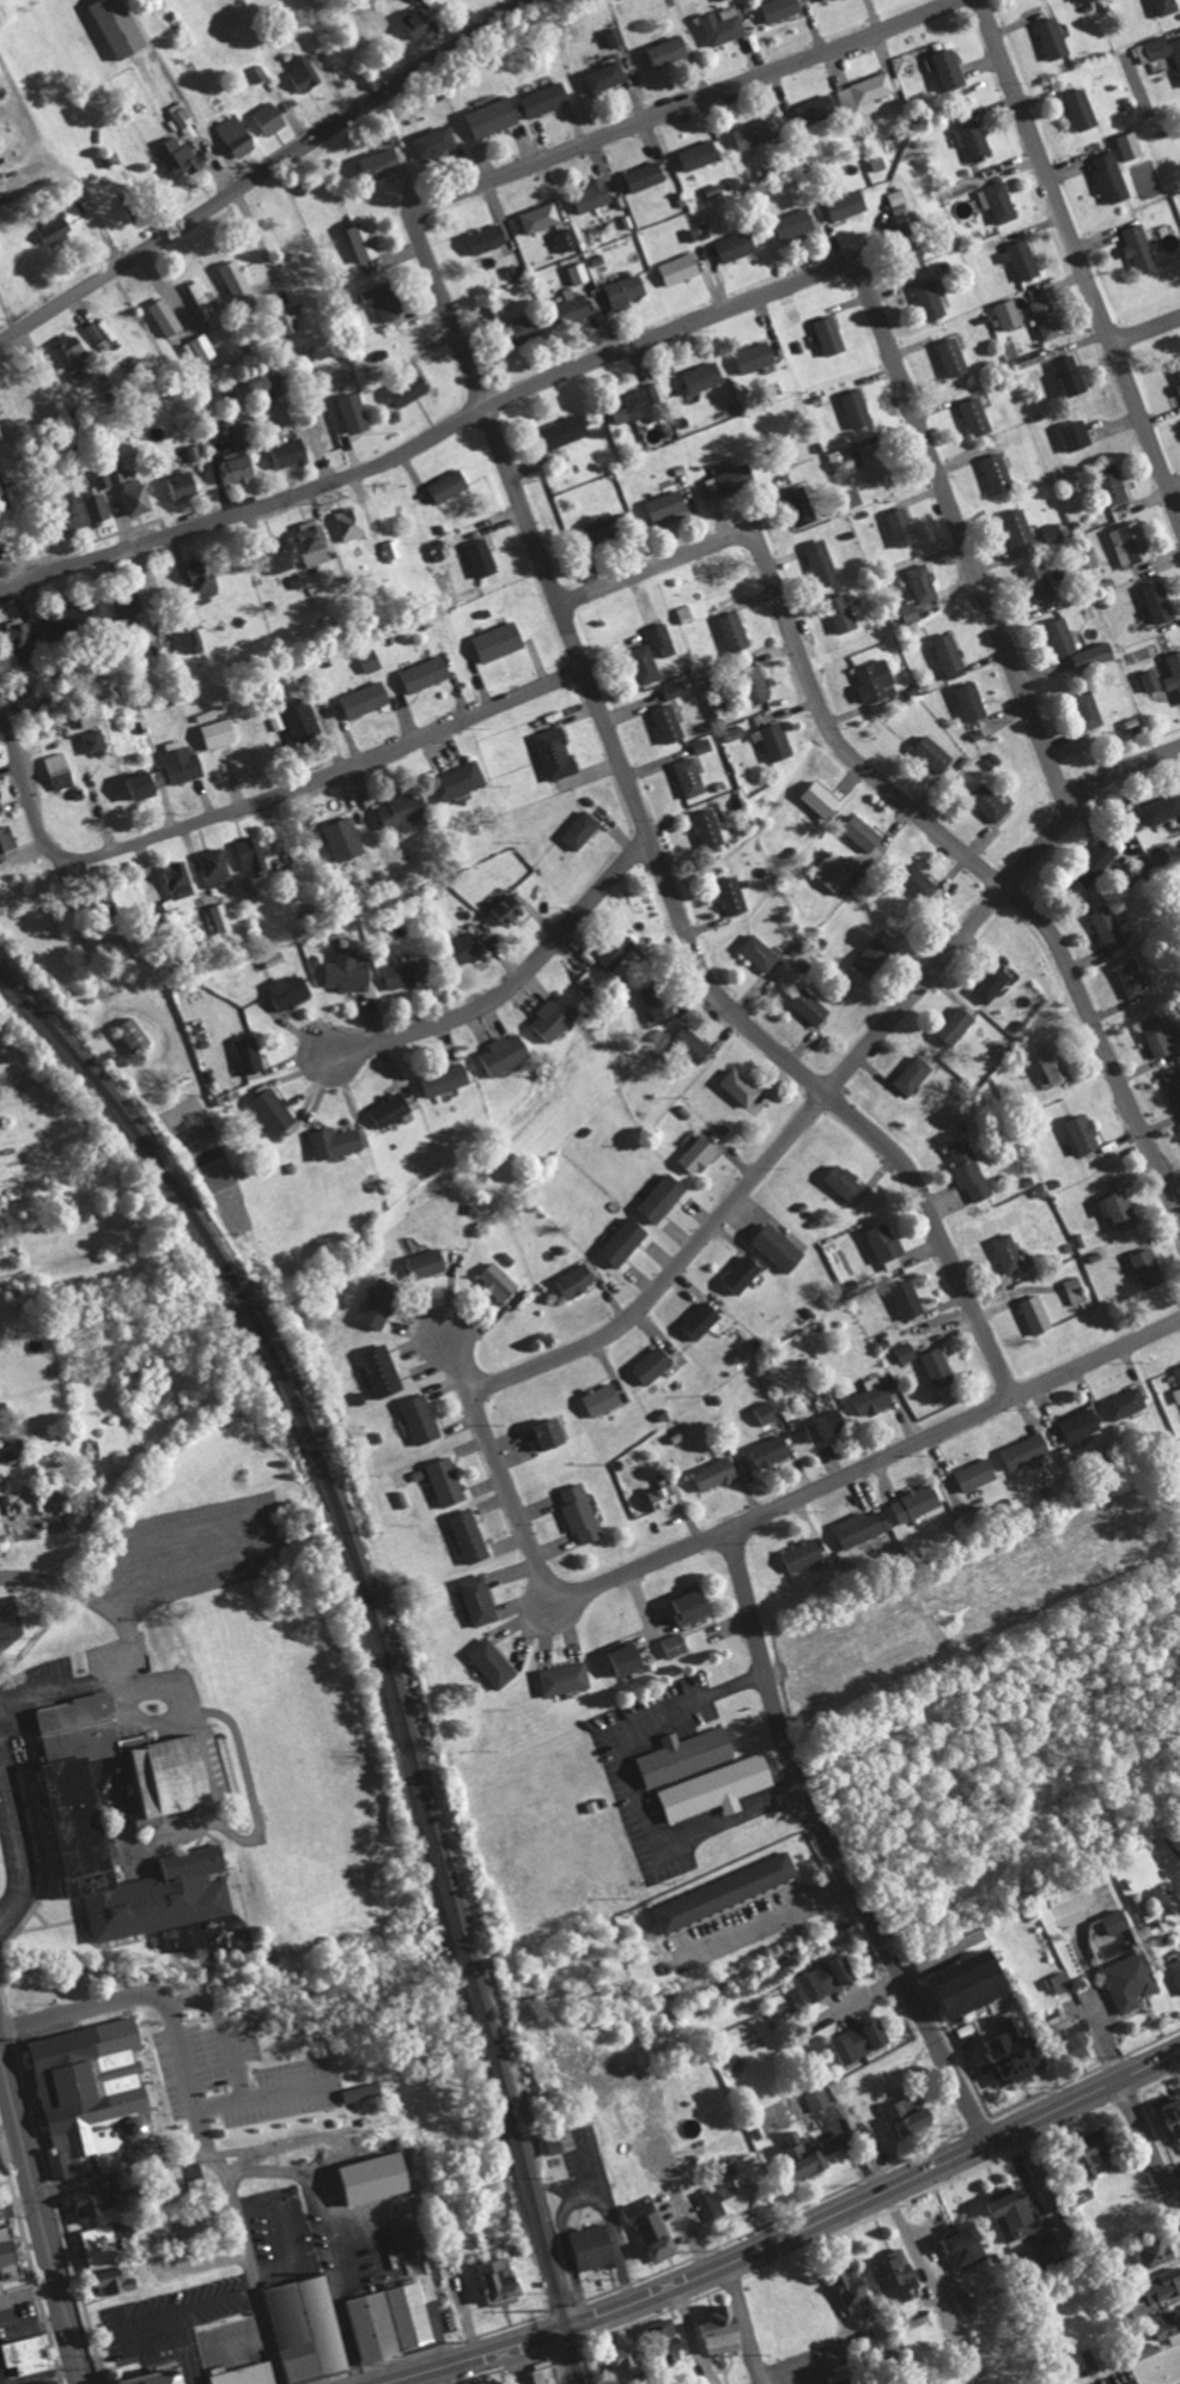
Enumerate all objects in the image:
building: (415, 0)
building: (826, 0)
building: (1167, 6)
building: (781, 8)
building: (171, 18)
building: (420, 20)
building: (724, 25)
building: (122, 26)
building: (615, 37)
building: (1054, 38)
building: (1156, 49)
building: (668, 51)
building: (953, 69)
building: (305, 72)
building: (258, 74)
building: (607, 77)
building: (865, 93)
building: (545, 99)
building: (816, 109)
building: (1082, 109)
building: (180, 111)
building: (272, 116)
building: (492, 117)
building: (755, 134)
building: (238, 135)
building: (974, 139)
building: (434, 142)
building: (1131, 145)
building: (699, 154)
building: (182, 157)
building: (382, 163)
road: (266, 168)
building: (646, 176)
building: (1112, 178)
building: (713, 190)
building: (594, 194)
building: (1002, 201)
building: (848, 205)
building: (543, 217)
building: (796, 224)
building: (57, 229)
building: (910, 231)
building: (488, 238)
building: (567, 239)
building: (364, 242)
building: (737, 245)
building: (1141, 249)
building: (0, 255)
road: (1081, 256)
building: (1022, 260)
building: (681, 268)
building: (579, 273)
building: (238, 284)
building: (626, 290)
building: (932, 299)
building: (385, 302)
building: (574, 307)
building: (1009, 314)
building: (166, 317)
building: (1047, 317)
road: (697, 322)
building: (527, 327)
building: (95, 332)
road: (1148, 332)
building: (832, 335)
building: (202, 348)
building: (71, 350)
building: (756, 357)
building: (954, 358)
building: (1178, 375)
building: (1071, 376)
building: (704, 377)
building: (412, 389)
building: (632, 406)
building: (858, 408)
building: (354, 413)
building: (977, 417)
building: (567, 430)
building: (244, 432)
building: (1, 435)
building: (1076, 435)
building: (291, 450)
building: (838, 456)
building: (877, 462)
building: (238, 469)
building: (998, 473)
building: (111, 475)
building: (737, 479)
building: (1113, 484)
building: (451, 485)
building: (136, 496)
building: (17, 498)
building: (668, 505)
building: (802, 506)
building: (98, 509)
building: (352, 523)
building: (904, 527)
building: (1020, 528)
building: (604, 529)
building: (1054, 532)
building: (1135, 541)
building: (312, 542)
building: (2, 548)
building: (394, 550)
building: (483, 558)
building: (285, 560)
building: (823, 563)
road: (547, 575)
building: (206, 577)
building: (1040, 582)
building: (924, 584)
building: (1158, 602)
building: (128, 606)
building: (911, 612)
building: (685, 613)
building: (843, 613)
building: (80, 620)
building: (736, 631)
building: (1062, 637)
building: (24, 639)
building: (190, 639)
building: (663, 639)
building: (501, 641)
building: (949, 653)
building: (1095, 655)
building: (647, 663)
building: (1174, 672)
building: (426, 673)
building: (877, 680)
building: (1151, 680)
building: (677, 687)
building: (759, 687)
building: (366, 699)
building: (972, 700)
building: (1089, 708)
building: (303, 720)
building: (670, 722)
building: (220, 732)
building: (735, 732)
building: (96, 739)
building: (777, 741)
building: (704, 745)
building: (558, 752)
building: (933, 753)
building: (185, 764)
building: (62, 770)
road: (322, 770)
building: (691, 776)
building: (460, 779)
building: (147, 782)
road: (24, 784)
building: (822, 797)
road: (899, 797)
building: (990, 802)
building: (1, 807)
building: (1162, 807)
building: (406, 809)
building: (710, 827)
building: (583, 829)
building: (864, 831)
building: (346, 838)
building: (7, 841)
building: (254, 853)
building: (1096, 862)
building: (217, 863)
building: (833, 873)
building: (178, 879)
building: (920, 884)
building: (732, 894)
building: (510, 911)
building: (223, 917)
building: (1108, 926)
road: (961, 936)
building: (469, 945)
building: (618, 950)
building: (759, 952)
building: (872, 957)
building: (347, 970)
building: (409, 971)
building: (1132, 977)
road: (512, 982)
building: (992, 983)
building: (291, 990)
building: (658, 1001)
building: (810, 1006)
building: (556, 1017)
building: (956, 1024)
building: (138, 1033)
building: (1161, 1036)
building: (694, 1043)
building: (506, 1053)
building: (250, 1054)
building: (1056, 1062)
building: (913, 1074)
building: (445, 1079)
building: (741, 1086)
building: (1175, 1086)
building: (390, 1110)
building: (274, 1111)
building: (1083, 1133)
building: (337, 1141)
building: (699, 1154)
building: (972, 1169)
building: (846, 1183)
building: (662, 1197)
building: (1120, 1208)
building: (624, 1240)
building: (887, 1246)
building: (779, 1248)
building: (1009, 1252)
building: (427, 1262)
building: (1149, 1268)
building: (743, 1273)
building: (577, 1280)
building: (499, 1281)
building: (1076, 1290)
building: (908, 1299)
building: (381, 1302)
road: (645, 1303)
building: (1038, 1315)
building: (702, 1320)
building: (906, 1353)
road: (461, 1363)
building: (655, 1364)
building: (938, 1367)
building: (382, 1371)
building: (1178, 1372)
building: (1178, 1394)
building: (871, 1396)
building: (604, 1399)
building: (1126, 1403)
building: (768, 1412)
building: (421, 1419)
building: (1083, 1424)
building: (828, 1425)
road: (954, 1426)
building: (551, 1433)
building: (1028, 1450)
building: (771, 1451)
building: (978, 1474)
building: (445, 1481)
building: (664, 1497)
building: (917, 1503)
building: (582, 1513)
building: (973, 1515)
building: (1, 1521)
building: (863, 1525)
building: (472, 1536)
building: (804, 1554)
road: (545, 1575)
road: (90, 1599)
building: (480, 1600)
building: (695, 1603)
railway: (379, 1636)
building: (675, 1644)
building: (627, 1657)
building: (493, 1662)
building: (565, 1678)
road: (56, 1688)
building: (718, 1788)
road: (637, 1790)
building: (72, 1815)
road: (832, 1845)
road: (16, 1850)
building: (728, 1892)
building: (1068, 1893)
building: (1115, 1921)
building: (1175, 1972)
building: (831, 1977)
building: (1060, 1982)
building: (1130, 1982)
building: (972, 1984)
road: (159, 2000)
building: (863, 2040)
building: (1016, 2055)
building: (363, 2092)
building: (93, 2093)
building: (820, 2101)
building: (912, 2113)
building: (561, 2142)
road: (1150, 2143)
building: (1101, 2152)
building: (805, 2156)
road: (124, 2171)
building: (339, 2188)
building: (389, 2190)
building: (735, 2197)
building: (99, 2200)
road: (18, 2203)
building: (1015, 2213)
road: (41, 2219)
building: (652, 2227)
road: (780, 2234)
building: (99, 2245)
building: (595, 2246)
building: (968, 2246)
building: (1155, 2251)
building: (12, 2253)
road: (250, 2270)
building: (896, 2276)
building: (116, 2281)
building: (504, 2281)
building: (1163, 2285)
building: (856, 2294)
building: (971, 2305)
road: (743, 2322)
building: (393, 2324)
building: (1170, 2324)
building: (310, 2329)
building: (720, 2329)
building: (669, 2341)
building: (29, 2354)
building: (631, 2358)
building: (1090, 2361)
building: (547, 2373)
building: (249, 2374)
building: (165, 2378)
building: (57, 2383)

